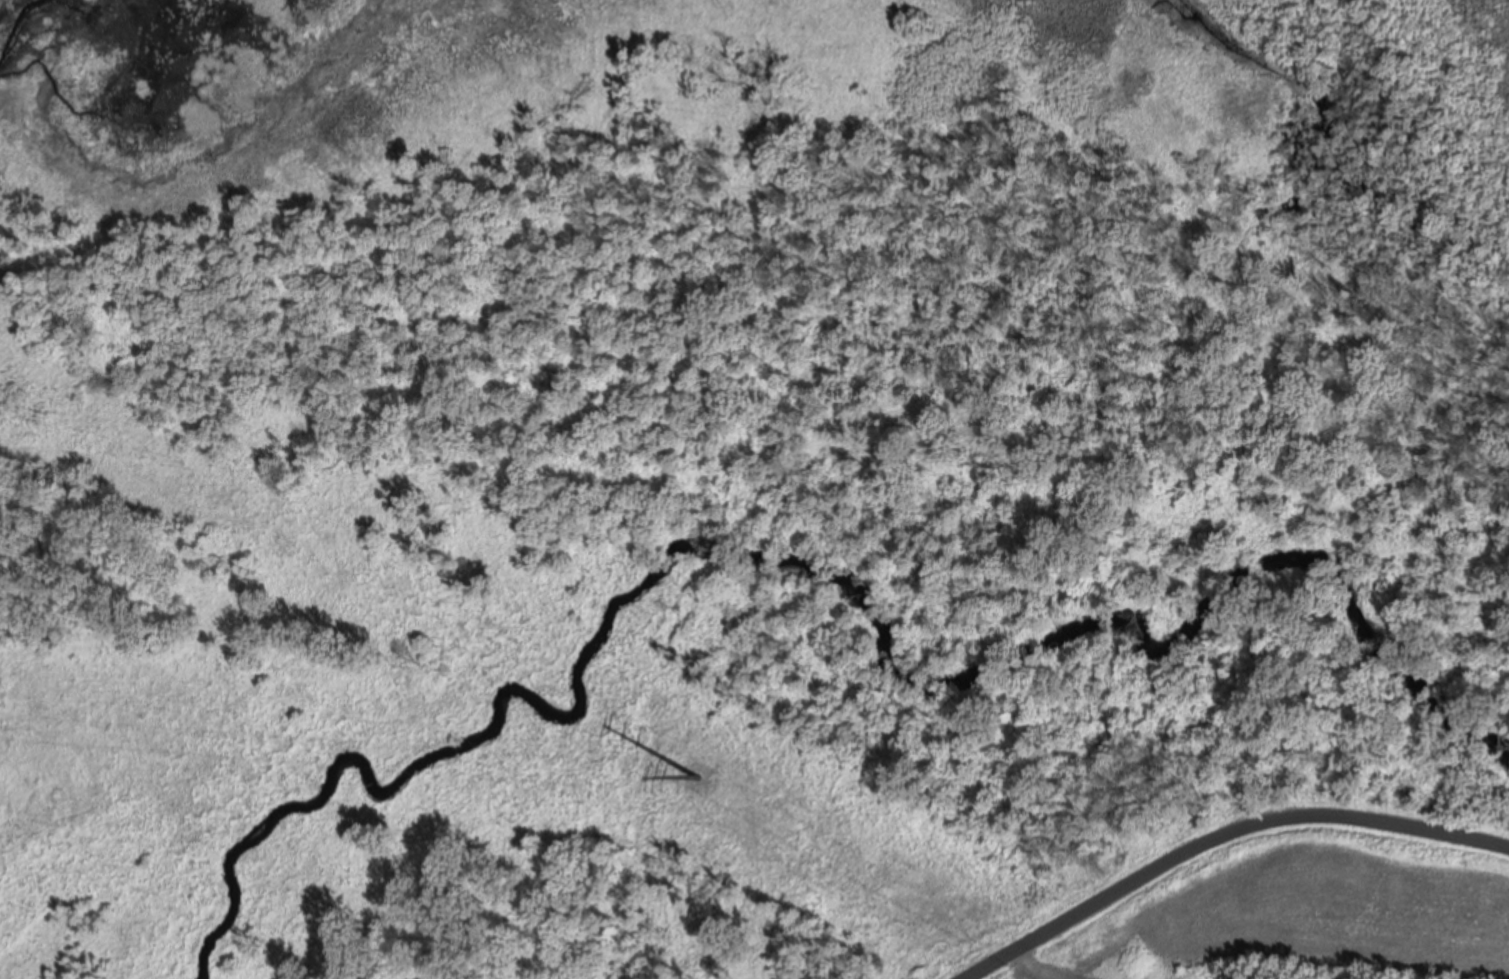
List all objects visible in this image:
power tower: (698, 772)
road: (1217, 831)

